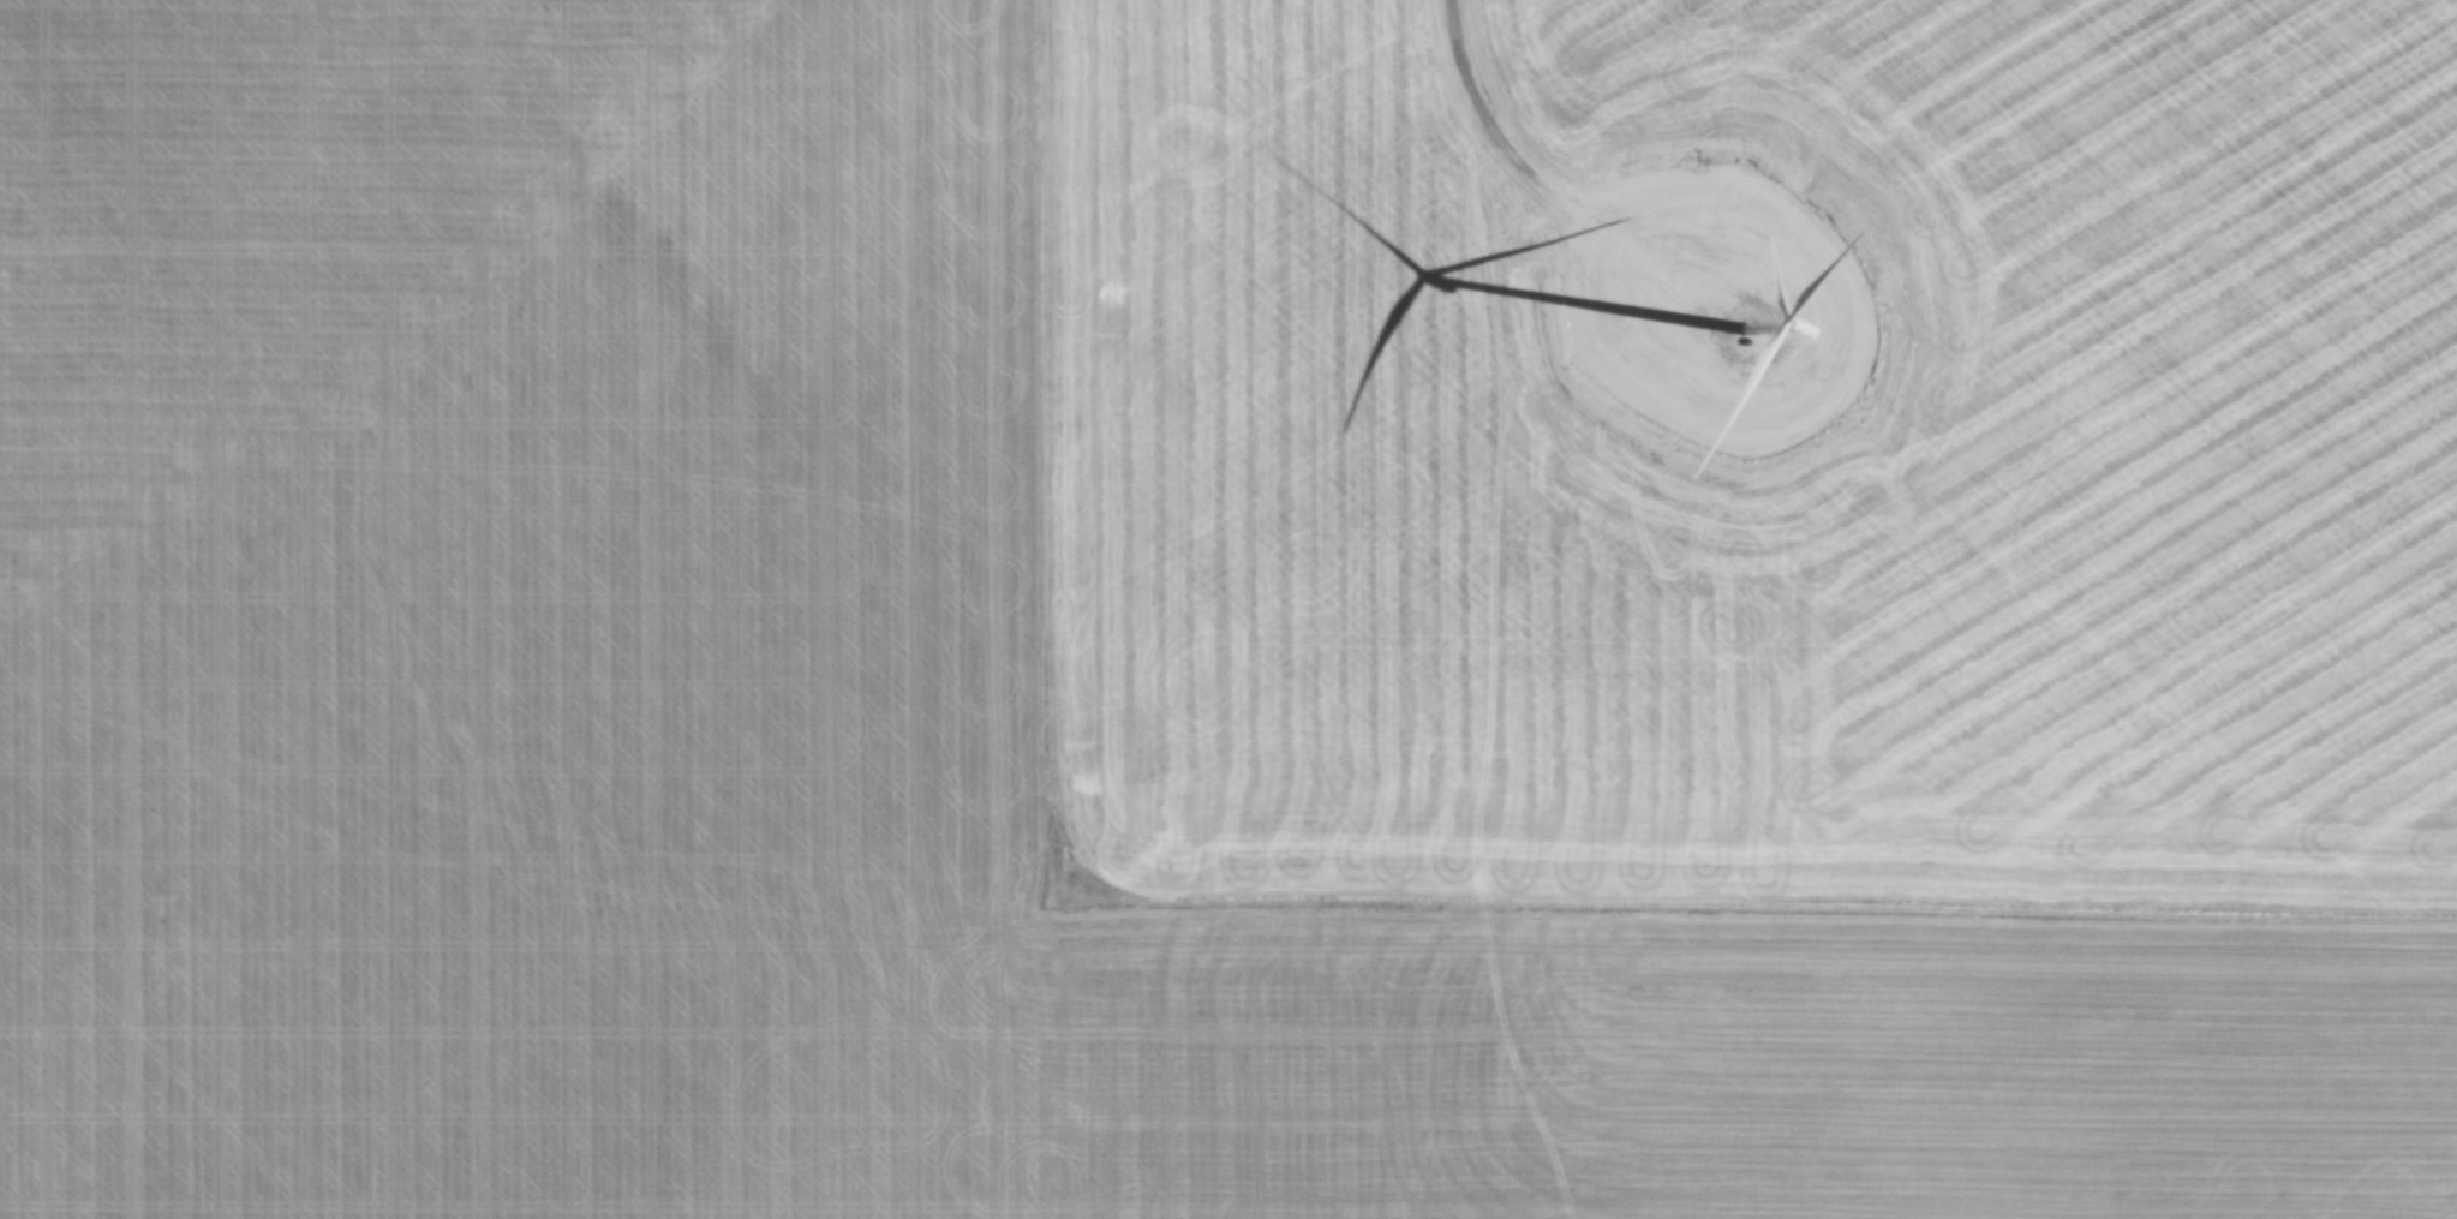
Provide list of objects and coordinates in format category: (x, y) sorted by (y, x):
wind turbine: (1742, 330)

